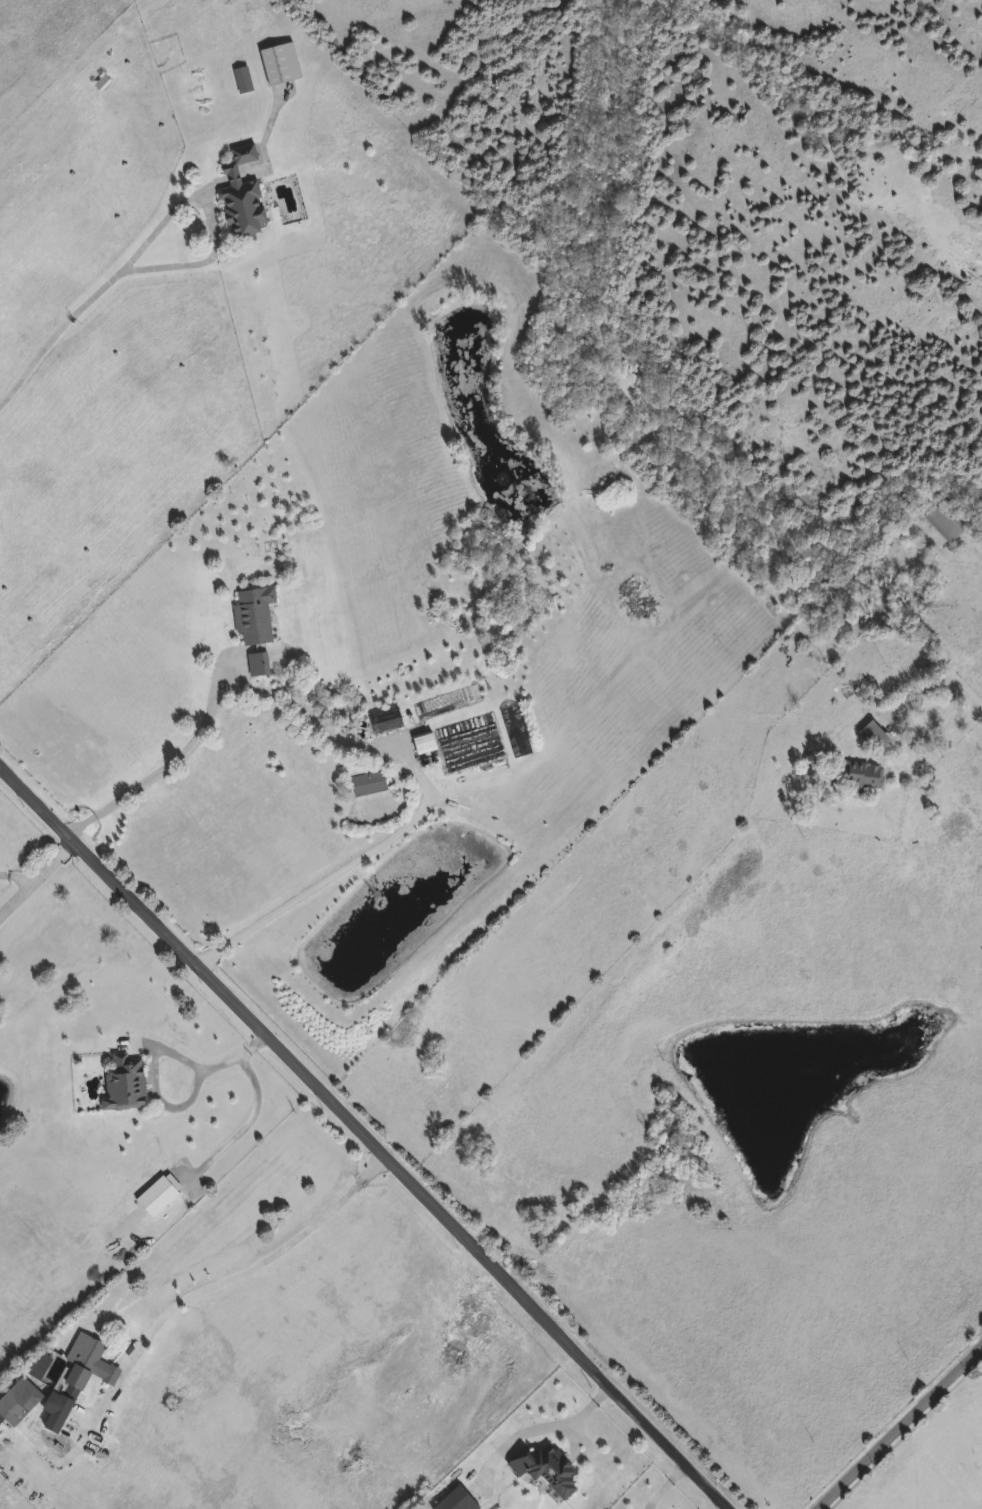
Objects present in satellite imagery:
building: (281, 65)
building: (244, 81)
building: (103, 84)
building: (243, 197)
road: (200, 207)
road: (57, 336)
building: (947, 521)
building: (255, 616)
building: (259, 665)
road: (940, 681)
road: (312, 717)
building: (388, 722)
building: (875, 737)
building: (425, 745)
building: (520, 746)
road: (175, 759)
building: (861, 779)
building: (369, 785)
road: (35, 873)
road: (338, 873)
road: (13, 881)
road: (158, 1056)
building: (126, 1084)
road: (366, 1135)
building: (158, 1197)
road: (237, 1271)
building: (78, 1379)
building: (19, 1404)
road: (567, 1426)
road: (900, 1427)
building: (547, 1471)
building: (459, 1500)

